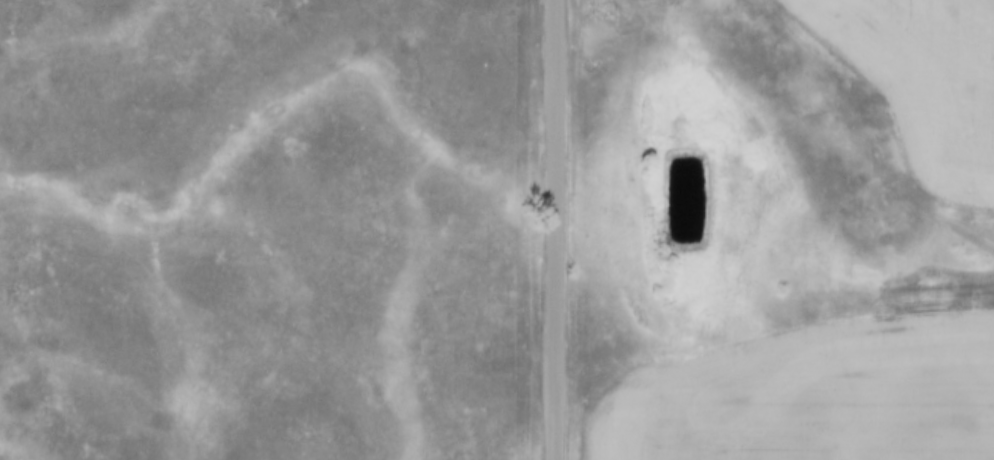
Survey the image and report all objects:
road: (556, 230)

